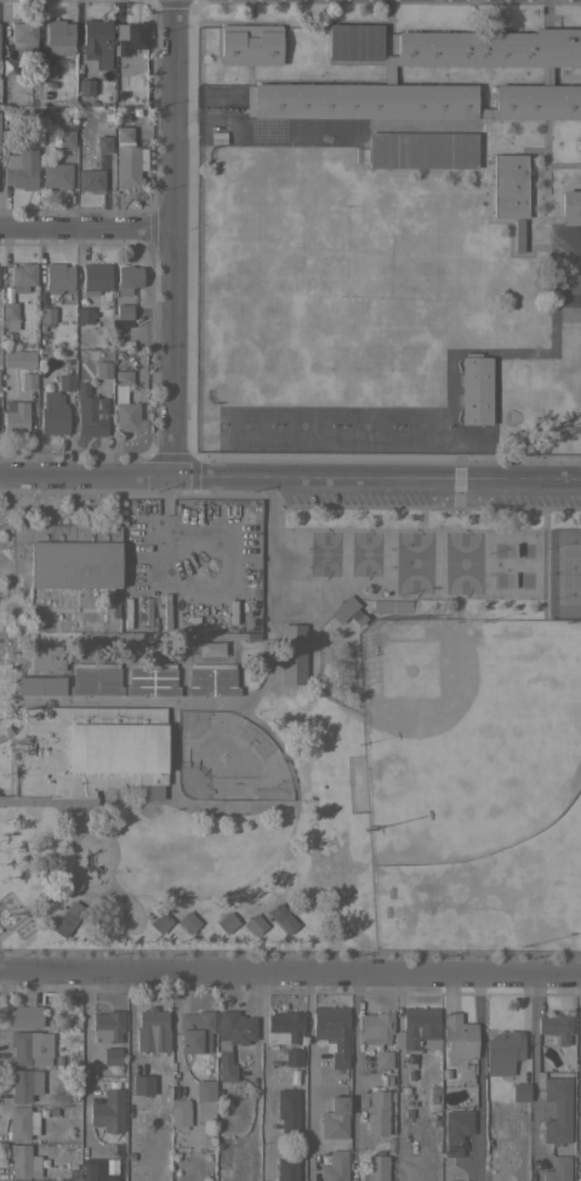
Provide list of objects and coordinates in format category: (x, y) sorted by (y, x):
building: (59, 36)
building: (130, 36)
building: (24, 38)
building: (97, 41)
building: (354, 41)
building: (251, 44)
building: (10, 67)
building: (47, 70)
building: (389, 74)
building: (86, 86)
building: (67, 138)
building: (104, 144)
building: (422, 149)
building: (580, 154)
building: (126, 159)
building: (21, 169)
building: (56, 175)
building: (90, 179)
building: (509, 190)
building: (570, 206)
road: (89, 223)
road: (176, 239)
building: (22, 276)
building: (57, 278)
building: (95, 278)
building: (125, 281)
building: (123, 312)
building: (10, 314)
building: (46, 314)
building: (84, 314)
building: (91, 354)
building: (18, 358)
building: (102, 369)
building: (28, 380)
building: (65, 382)
building: (474, 389)
building: (125, 405)
building: (89, 411)
building: (52, 413)
building: (13, 415)
road: (87, 477)
road: (377, 479)
building: (67, 554)
park: (412, 561)
park: (461, 563)
park: (563, 572)
building: (346, 611)
building: (240, 637)
building: (209, 649)
building: (291, 654)
building: (46, 657)
building: (95, 679)
building: (150, 679)
building: (211, 679)
building: (40, 685)
park: (289, 724)
park: (465, 732)
building: (87, 754)
park: (226, 758)
road: (294, 793)
road: (184, 804)
building: (67, 918)
building: (281, 918)
building: (159, 922)
building: (187, 922)
building: (226, 922)
building: (254, 923)
road: (290, 972)
building: (24, 1015)
building: (107, 1026)
building: (374, 1026)
building: (556, 1026)
building: (284, 1027)
building: (417, 1028)
building: (152, 1029)
building: (194, 1031)
building: (331, 1032)
building: (457, 1035)
building: (230, 1039)
building: (29, 1046)
building: (502, 1051)
building: (110, 1055)
building: (292, 1056)
building: (382, 1057)
road: (84, 1060)
building: (409, 1062)
road: (532, 1067)
road: (579, 1072)
road: (264, 1077)
road: (308, 1077)
road: (353, 1077)
road: (480, 1077)
building: (23, 1083)
building: (142, 1084)
building: (519, 1091)
building: (205, 1099)
building: (108, 1109)
building: (557, 1111)
building: (180, 1112)
building: (289, 1112)
building: (377, 1113)
building: (334, 1118)
building: (21, 1122)
building: (456, 1124)
building: (450, 1149)
building: (22, 1160)
building: (335, 1166)
building: (286, 1168)
building: (376, 1168)
building: (558, 1169)
building: (95, 1170)
building: (53, 1180)
building: (457, 1180)

